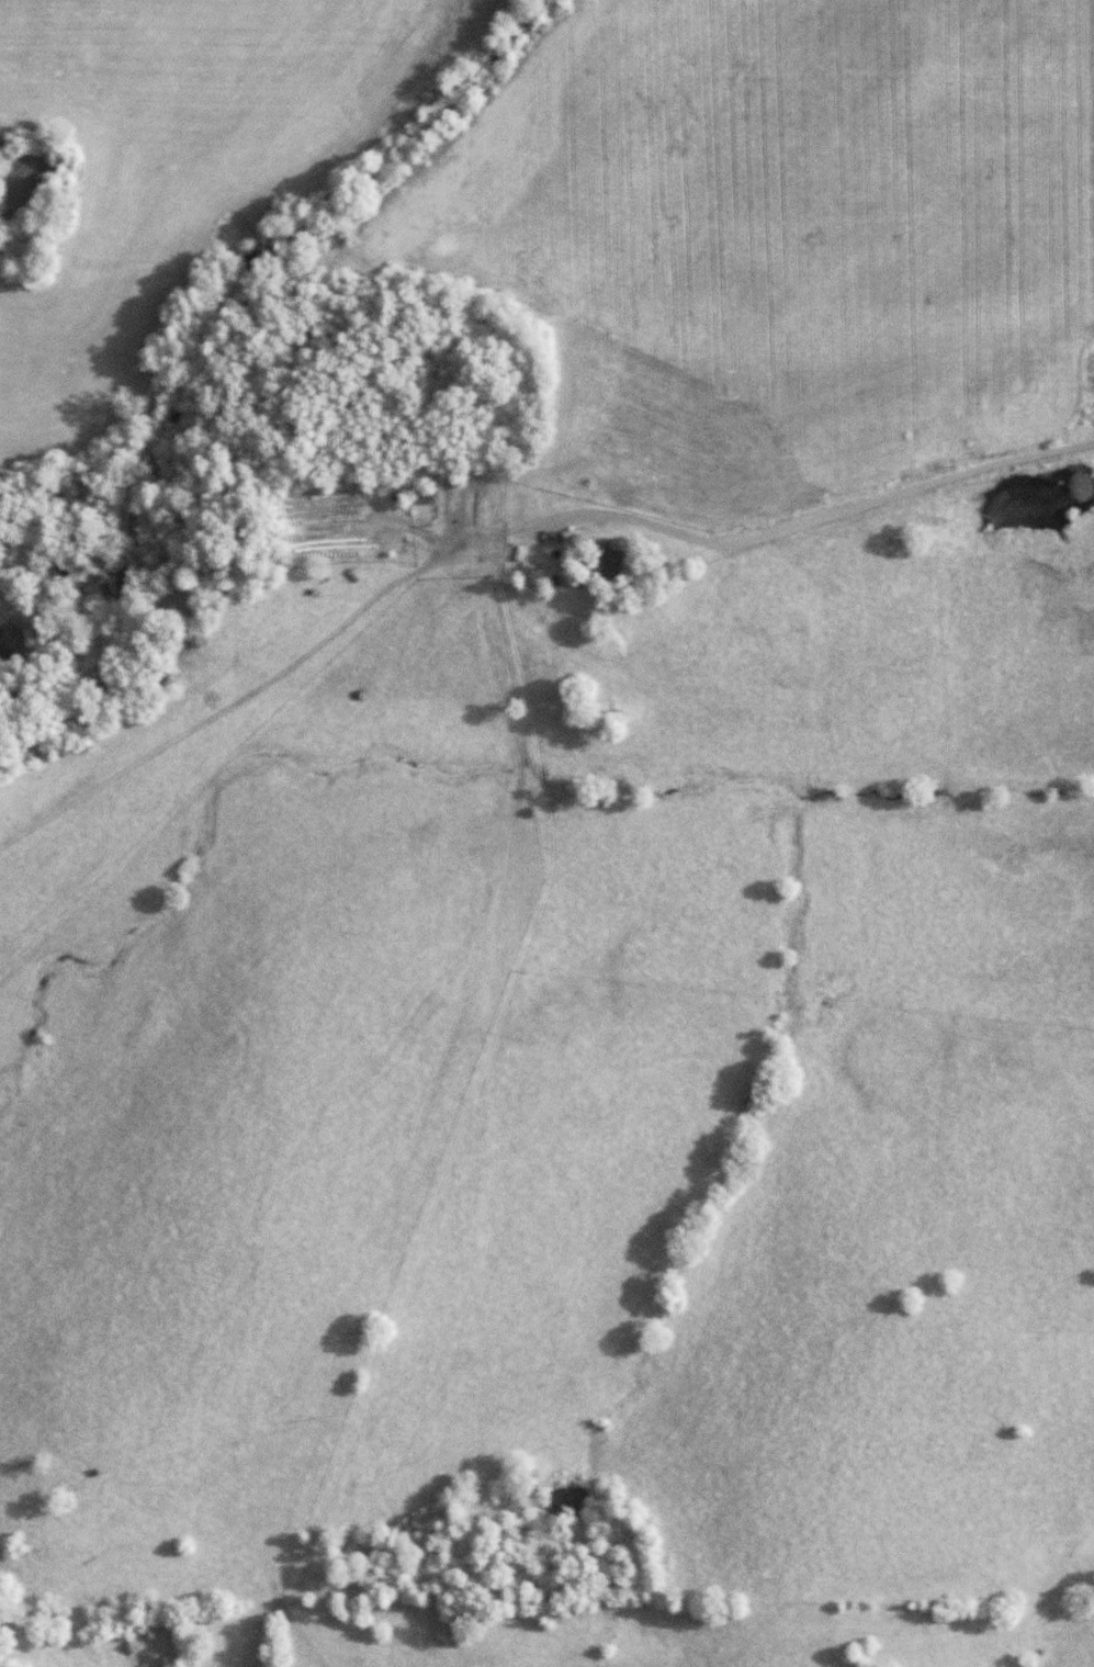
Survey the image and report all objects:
road: (844, 513)
building: (599, 571)

